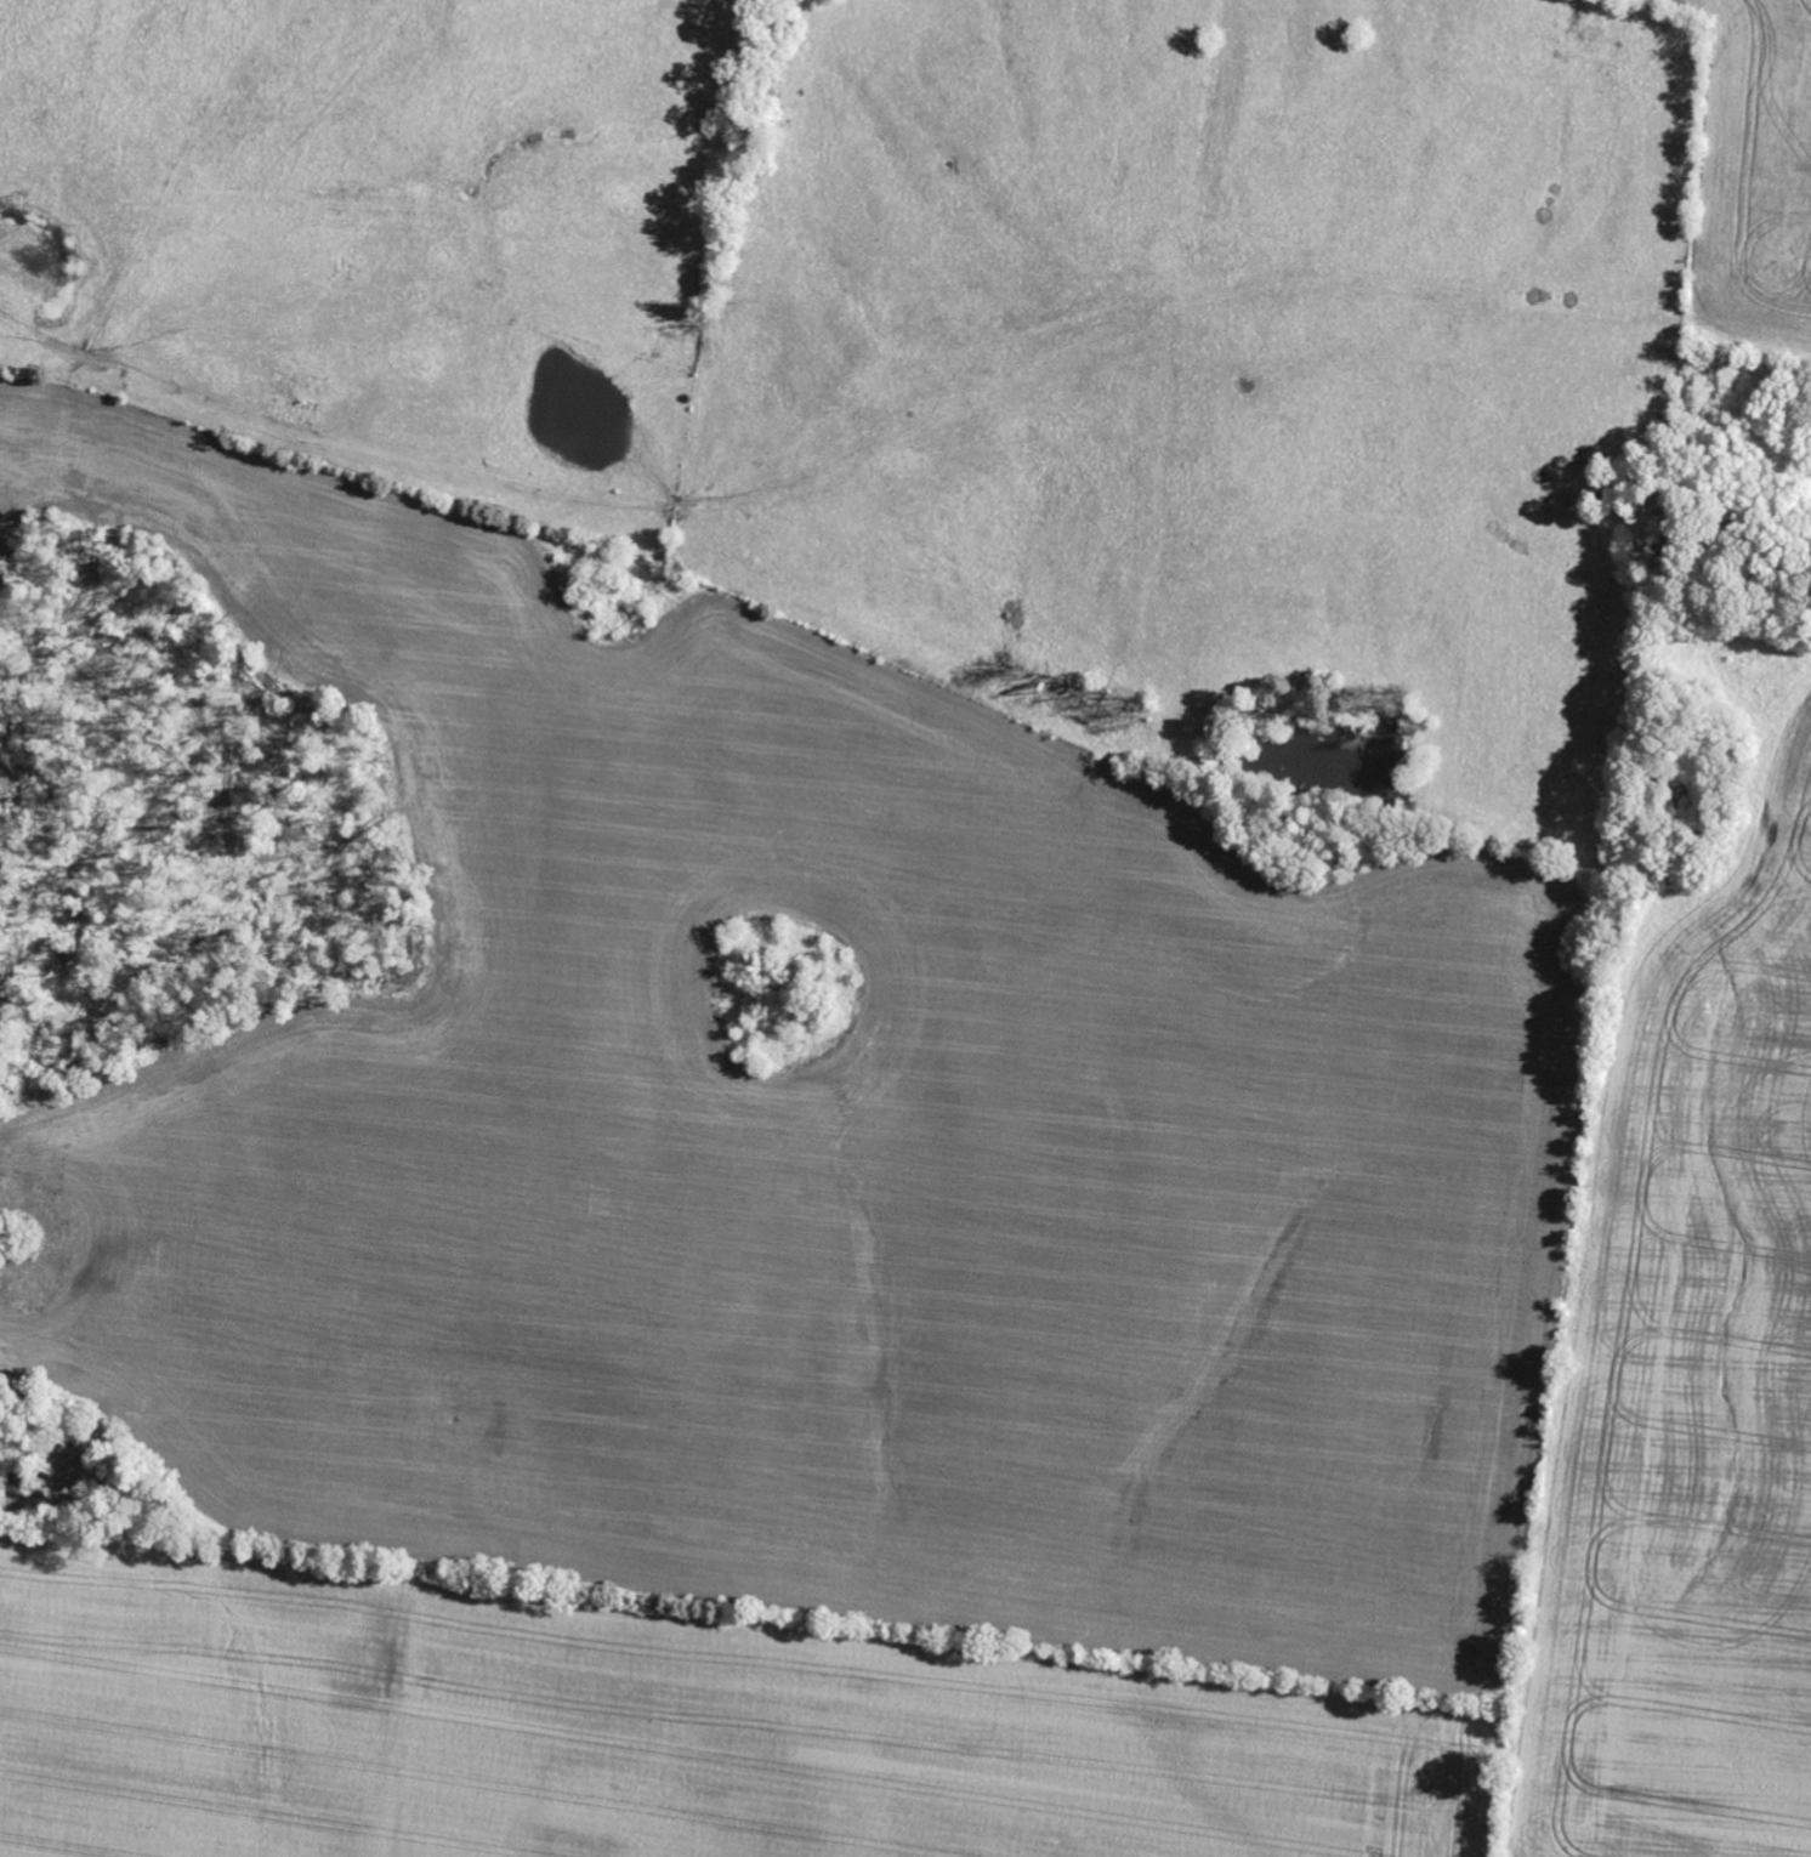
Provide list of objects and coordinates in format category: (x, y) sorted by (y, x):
road: (918, 428)
road: (931, 1658)

